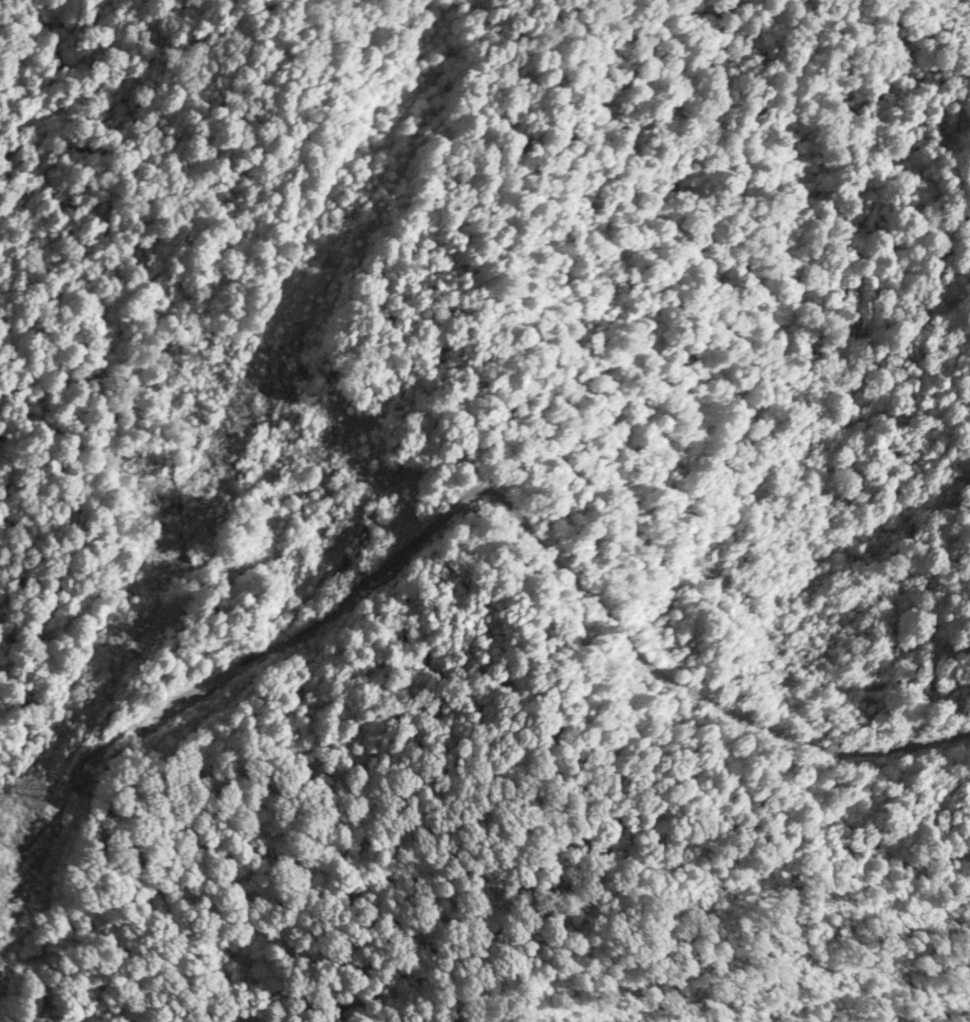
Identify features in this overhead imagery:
road: (955, 13)
power tower: (50, 791)

